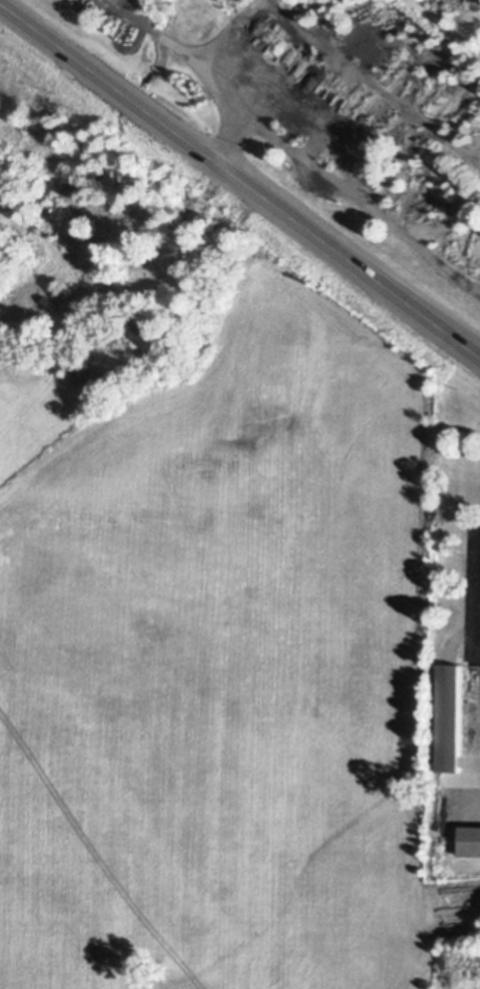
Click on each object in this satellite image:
road: (219, 24)
road: (200, 62)
road: (239, 179)
road: (358, 194)
building: (138, 215)
building: (419, 229)
building: (114, 234)
building: (120, 272)
building: (99, 330)
road: (479, 588)
building: (469, 838)

